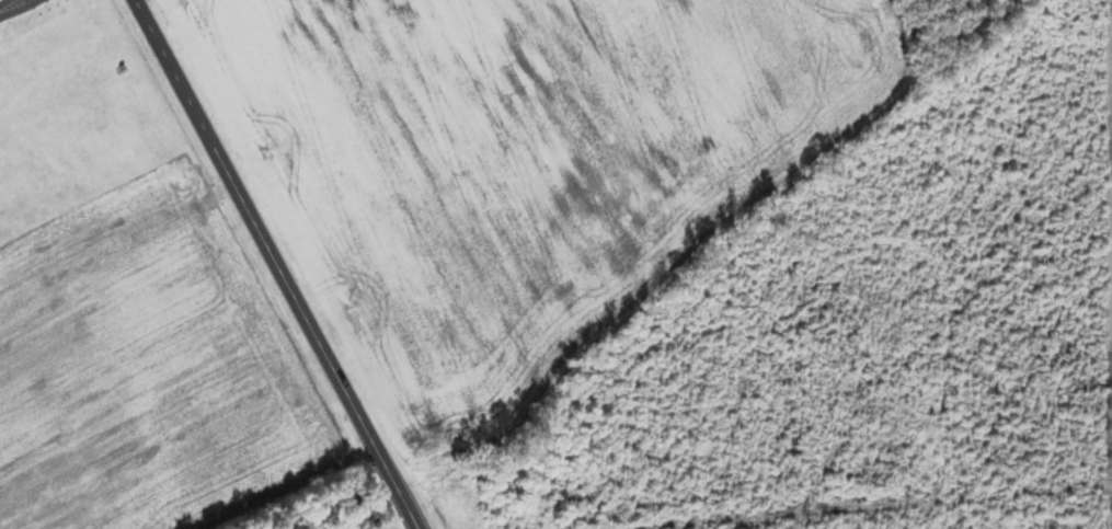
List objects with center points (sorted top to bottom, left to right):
road: (8, 4)
road: (273, 264)

